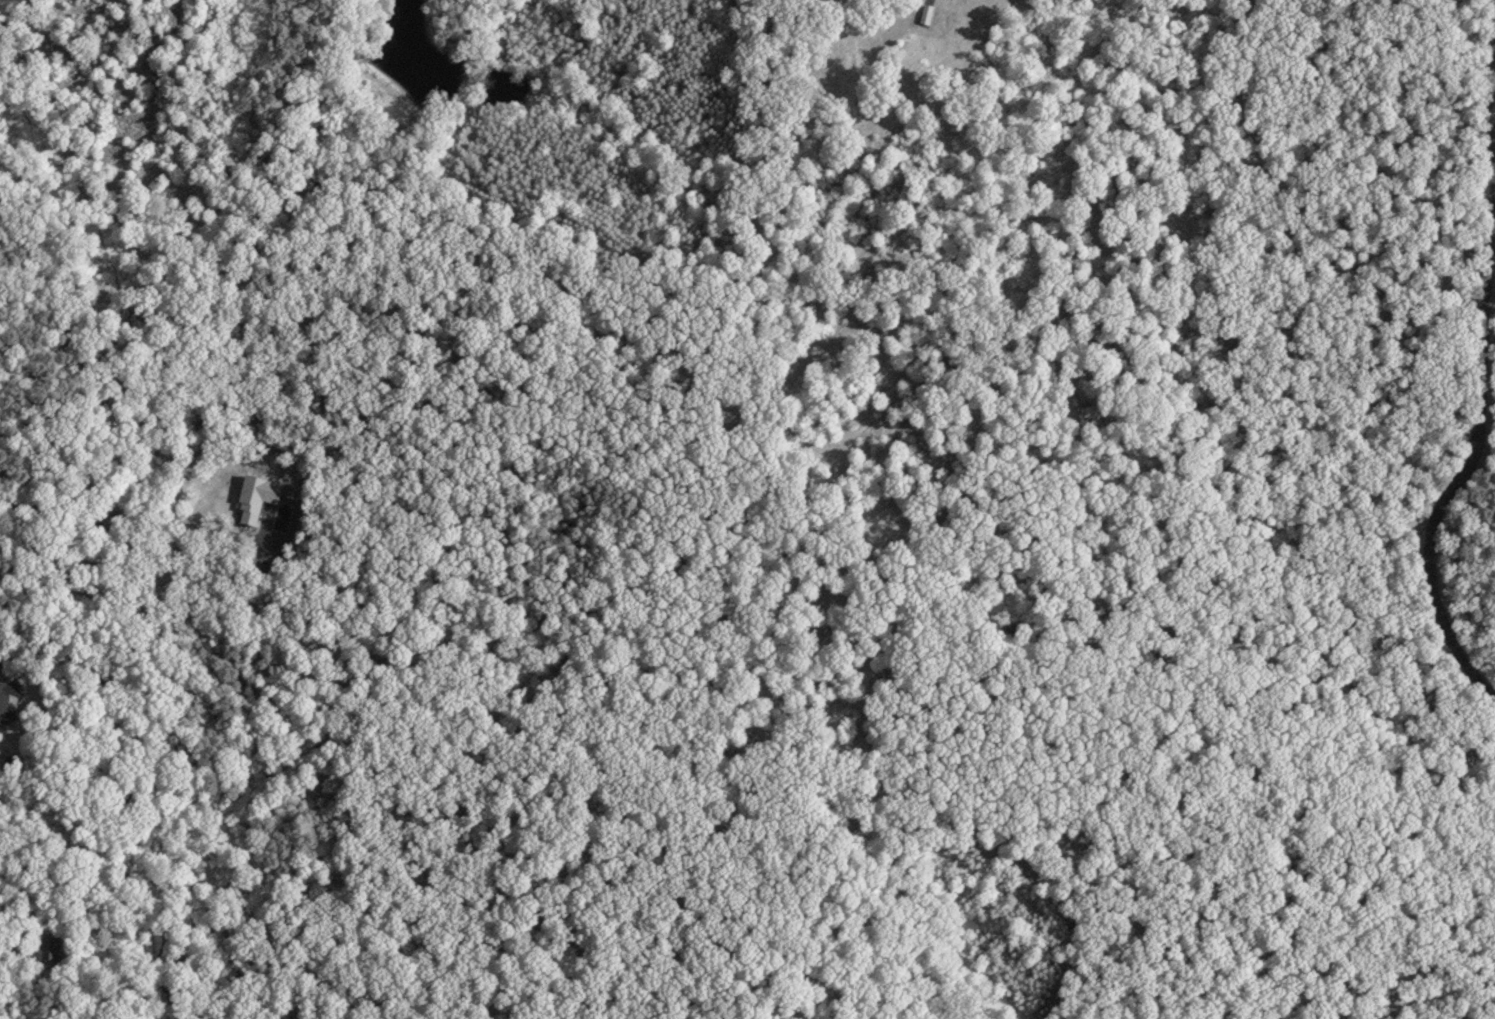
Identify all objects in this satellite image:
building: (927, 11)
road: (1493, 223)
road: (1483, 424)
building: (258, 499)
road: (124, 524)
building: (9, 697)
building: (49, 941)

